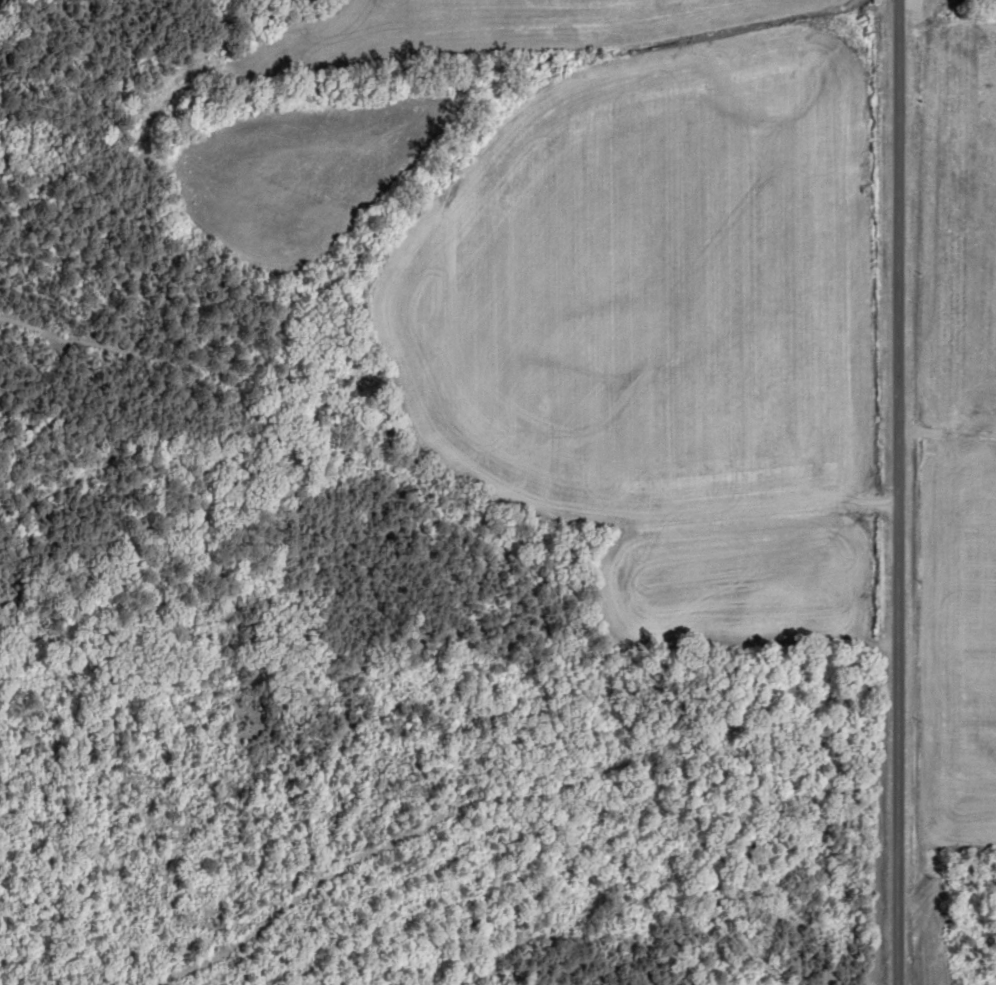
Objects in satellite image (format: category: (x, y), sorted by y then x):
road: (910, 492)

